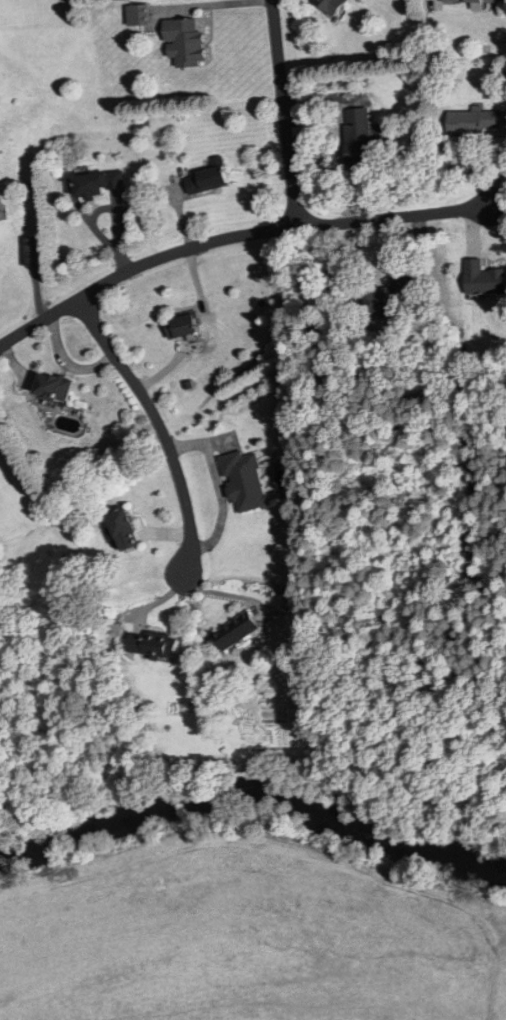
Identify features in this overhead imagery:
building: (470, 1)
building: (331, 5)
building: (140, 16)
building: (186, 43)
building: (472, 122)
building: (359, 136)
building: (210, 178)
building: (101, 185)
road: (292, 191)
road: (233, 237)
building: (483, 278)
building: (391, 296)
building: (185, 327)
building: (56, 389)
road: (159, 426)
building: (245, 479)
building: (126, 528)
building: (237, 630)
building: (154, 643)

